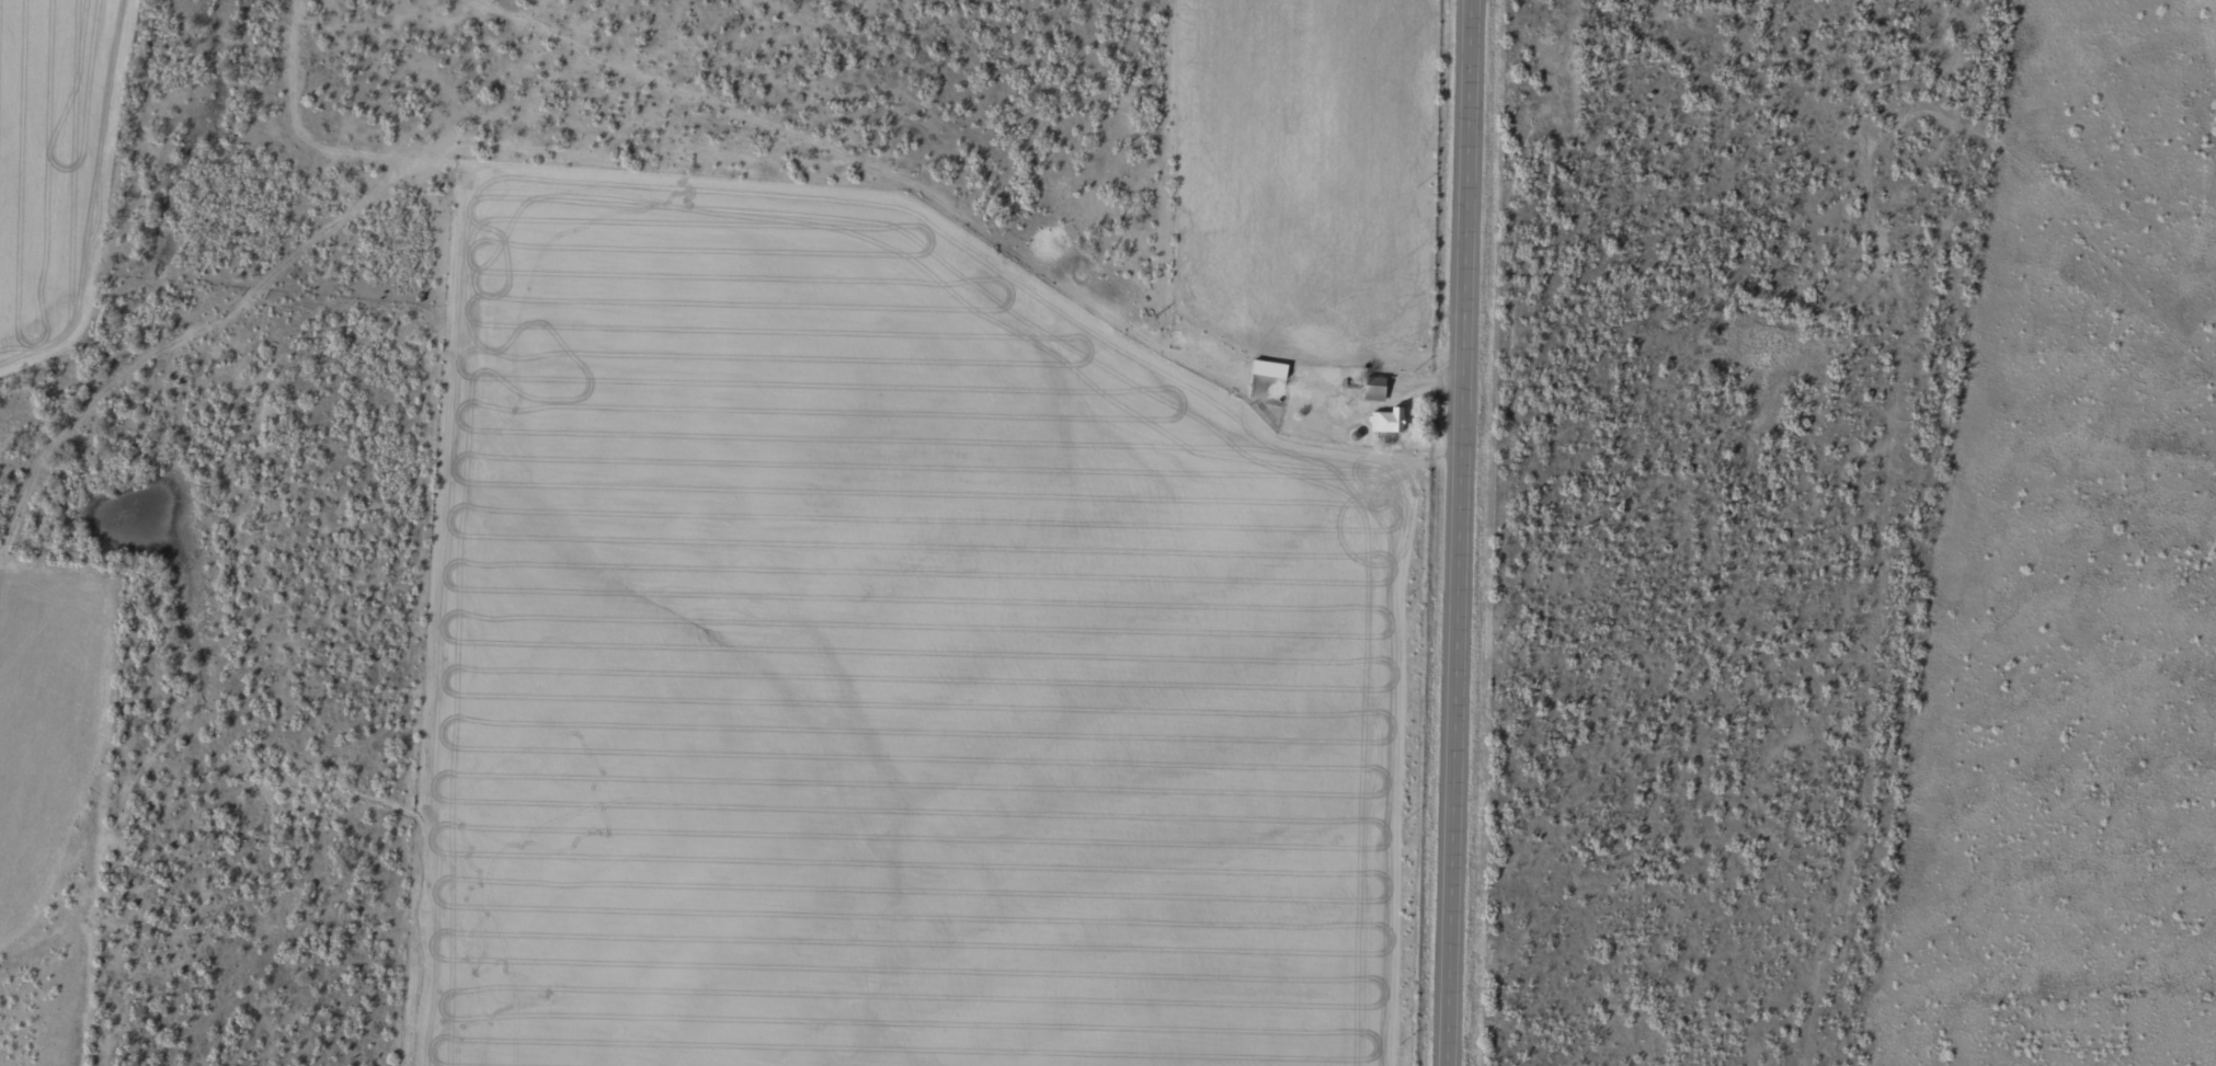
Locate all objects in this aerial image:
road: (1875, 364)
building: (1268, 369)
building: (1373, 389)
building: (1386, 421)
road: (1463, 532)

